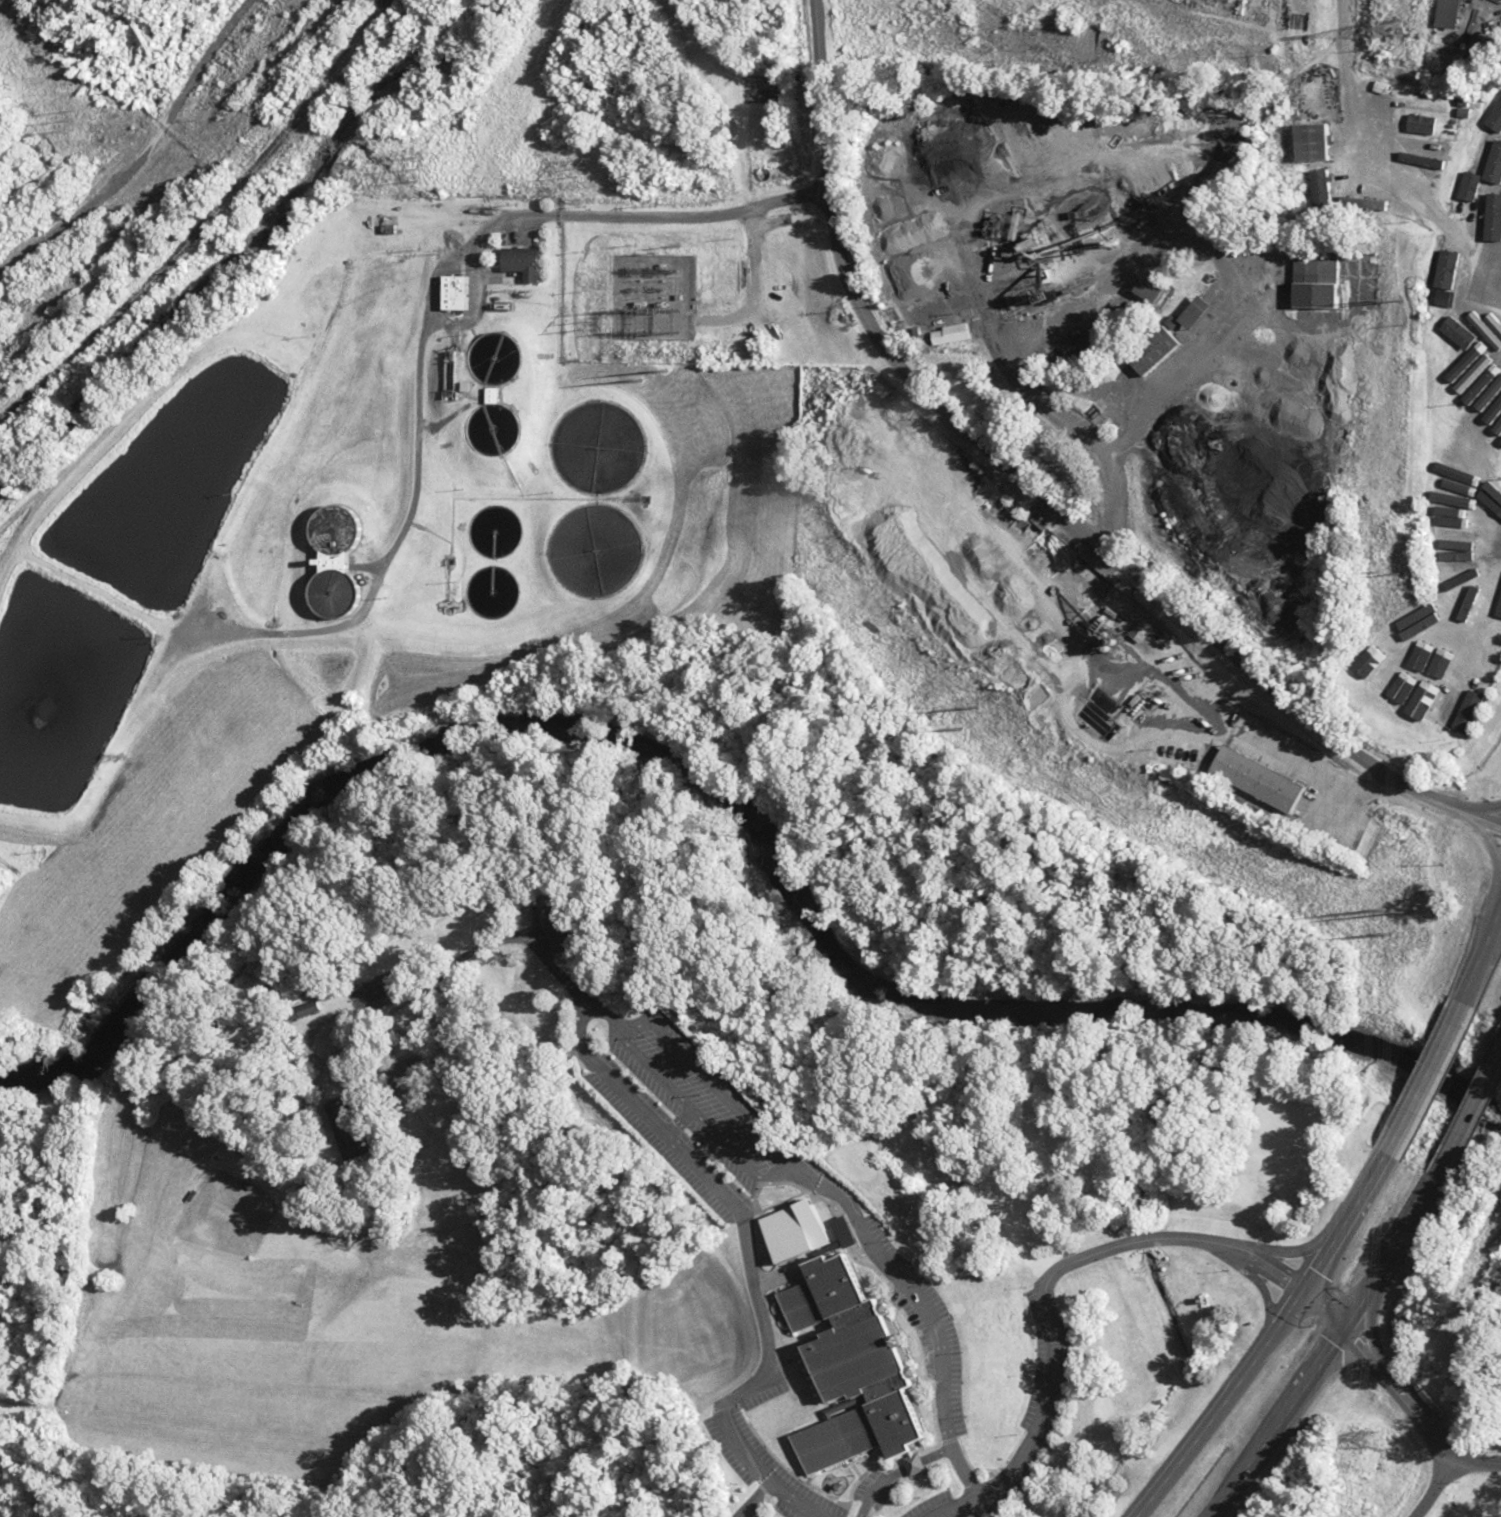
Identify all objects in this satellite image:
building: (1454, 14)
power tower: (1399, 28)
building: (1499, 119)
railway: (202, 218)
building: (529, 262)
building: (1319, 282)
building: (459, 292)
power substation: (652, 296)
power tower: (1404, 300)
building: (1196, 317)
building: (1160, 350)
road: (1040, 491)
wastewater plant: (362, 525)
building: (346, 593)
building: (1468, 663)
building: (1414, 696)
building: (1475, 707)
building: (1438, 712)
building: (1265, 780)
building: (562, 929)
road: (1341, 1233)
road: (792, 1235)
road: (1048, 1280)
road: (1370, 1294)
building: (857, 1370)
road: (1396, 1390)
power tower: (1369, 1439)
road: (1477, 1469)
road: (1446, 1489)

